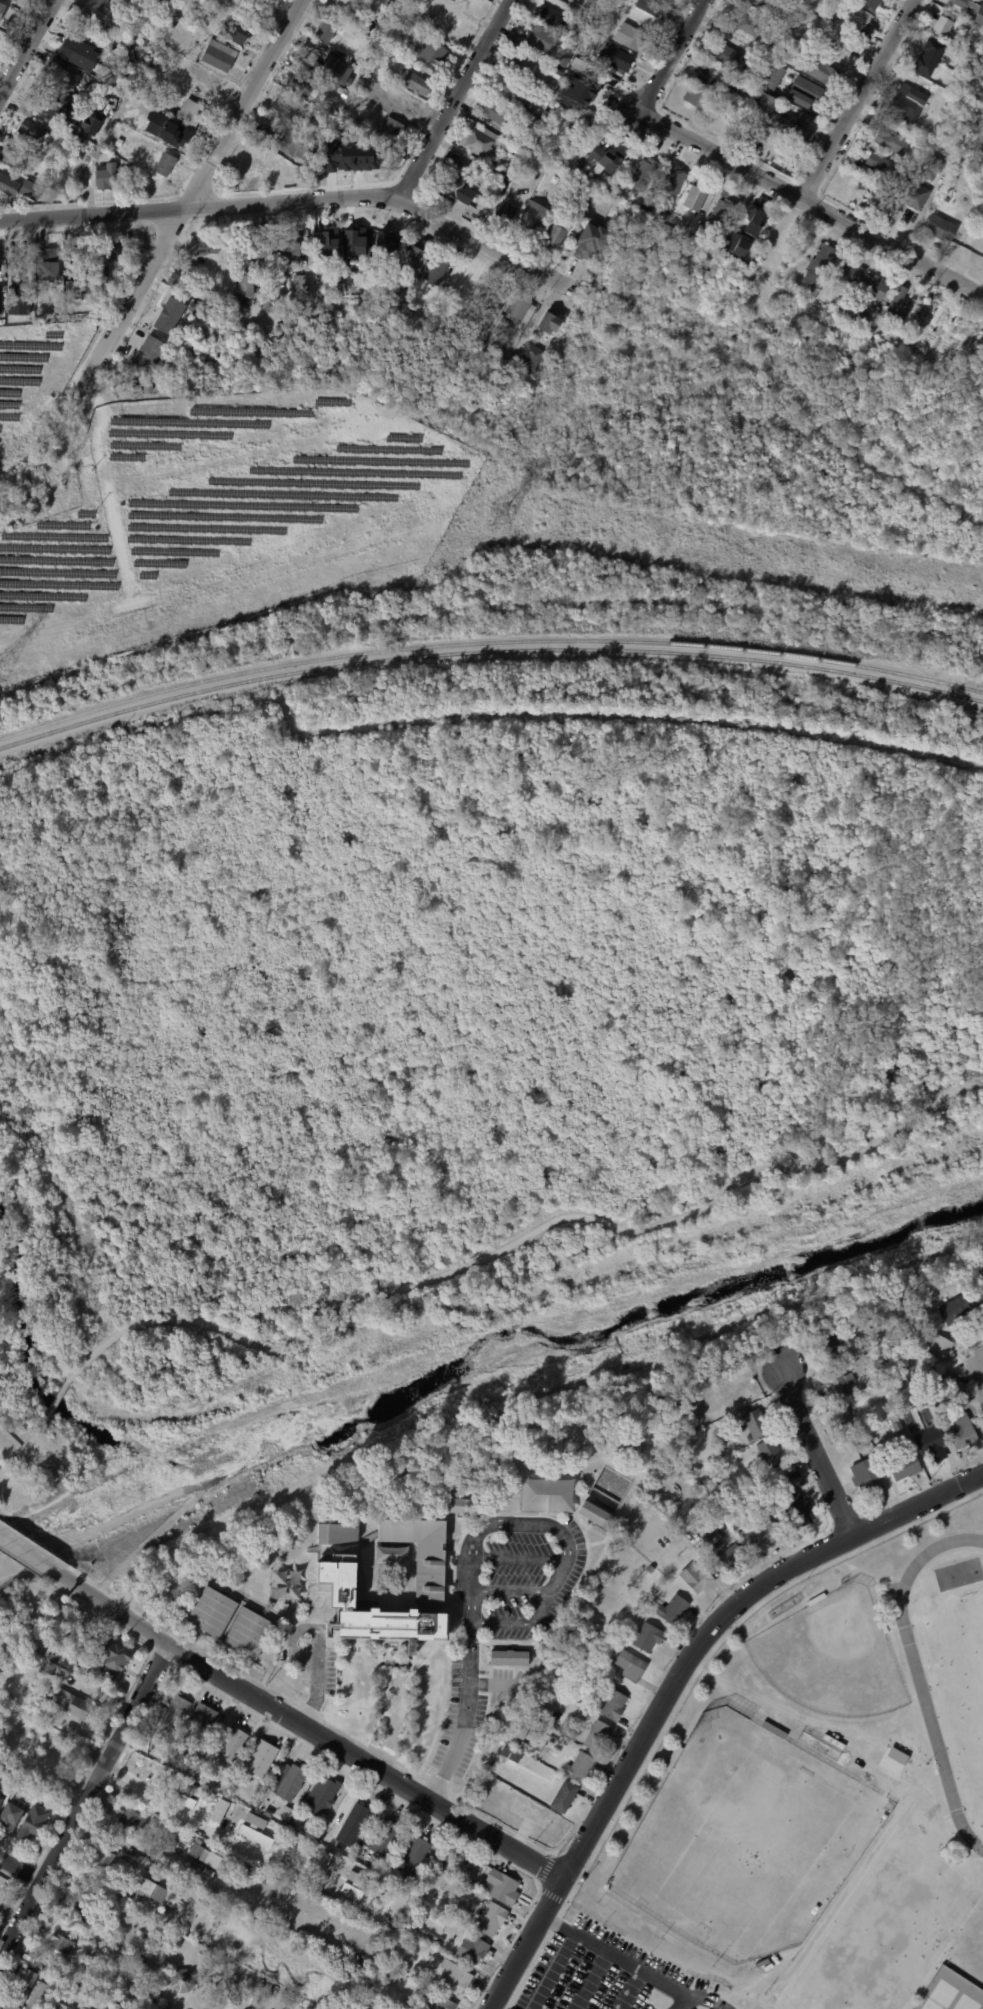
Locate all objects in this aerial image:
building: (16, 0)
building: (449, 0)
building: (451, 0)
building: (570, 0)
building: (666, 1)
building: (757, 2)
building: (800, 2)
building: (869, 4)
building: (955, 4)
building: (100, 5)
building: (387, 7)
building: (342, 8)
building: (793, 9)
building: (972, 10)
building: (409, 11)
building: (3, 12)
building: (644, 13)
building: (857, 16)
building: (550, 19)
building: (942, 25)
building: (90, 26)
building: (749, 26)
building: (595, 28)
building: (238, 31)
building: (323, 31)
building: (69, 35)
building: (836, 35)
building: (628, 36)
building: (532, 37)
road: (26, 47)
building: (570, 50)
building: (792, 50)
building: (429, 51)
building: (75, 52)
road: (672, 53)
building: (220, 55)
building: (725, 57)
building: (927, 58)
building: (617, 59)
building: (520, 64)
building: (749, 65)
building: (820, 70)
building: (359, 71)
building: (549, 71)
building: (336, 72)
building: (706, 75)
building: (773, 79)
building: (67, 81)
building: (416, 83)
building: (299, 84)
building: (584, 88)
building: (93, 92)
building: (155, 93)
building: (805, 94)
road: (459, 97)
road: (859, 98)
building: (521, 99)
building: (694, 99)
building: (728, 99)
building: (88, 101)
building: (405, 101)
road: (242, 103)
building: (904, 104)
building: (284, 106)
building: (59, 107)
building: (194, 112)
building: (494, 114)
building: (774, 116)
building: (805, 118)
building: (576, 122)
building: (89, 124)
building: (265, 124)
building: (36, 132)
building: (62, 133)
building: (389, 133)
building: (753, 135)
building: (179, 136)
building: (70, 142)
building: (120, 143)
building: (891, 143)
building: (478, 144)
building: (541, 144)
building: (571, 144)
building: (100, 153)
building: (2, 155)
building: (604, 156)
building: (364, 157)
building: (15, 158)
building: (277, 161)
building: (167, 165)
building: (505, 168)
building: (883, 168)
building: (931, 168)
building: (642, 174)
building: (111, 177)
building: (671, 181)
building: (454, 184)
building: (21, 188)
building: (902, 189)
building: (617, 193)
road: (393, 194)
building: (695, 197)
building: (915, 197)
building: (665, 199)
road: (813, 200)
building: (882, 202)
building: (722, 208)
building: (585, 211)
building: (505, 212)
road: (92, 213)
building: (530, 217)
building: (752, 219)
building: (939, 228)
building: (556, 234)
building: (698, 235)
building: (590, 241)
building: (357, 242)
building: (327, 243)
building: (385, 243)
building: (206, 246)
building: (275, 248)
building: (725, 248)
building: (112, 252)
building: (412, 259)
building: (47, 263)
building: (819, 266)
building: (434, 271)
building: (173, 280)
building: (862, 281)
building: (244, 285)
building: (298, 286)
road: (136, 291)
building: (396, 294)
building: (492, 297)
building: (3, 301)
building: (23, 301)
building: (897, 308)
building: (519, 309)
building: (850, 313)
building: (548, 323)
building: (937, 323)
building: (149, 357)
building: (530, 357)
building: (932, 360)
solar farm: (35, 372)
building: (150, 387)
power tower: (498, 513)
solar farm: (222, 520)
railway: (488, 641)
railway: (488, 649)
road: (58, 1199)
road: (519, 1236)
building: (980, 1299)
building: (953, 1310)
building: (853, 1331)
building: (868, 1343)
building: (829, 1346)
building: (936, 1348)
road: (982, 1365)
building: (932, 1382)
building: (837, 1383)
road: (55, 1400)
building: (940, 1408)
building: (876, 1417)
building: (841, 1421)
building: (755, 1423)
building: (897, 1427)
building: (961, 1430)
building: (13, 1439)
building: (929, 1441)
building: (720, 1444)
road: (22, 1448)
building: (769, 1453)
road: (815, 1454)
building: (613, 1461)
building: (904, 1467)
building: (868, 1474)
building: (751, 1476)
building: (764, 1485)
road: (976, 1492)
building: (460, 1505)
building: (795, 1507)
building: (595, 1514)
building: (764, 1533)
building: (333, 1534)
road: (33, 1544)
building: (391, 1554)
road: (28, 1555)
building: (420, 1555)
building: (727, 1558)
road: (519, 1559)
road: (22, 1562)
building: (650, 1569)
road: (470, 1574)
building: (695, 1578)
parking lot: (513, 1580)
road: (510, 1592)
building: (815, 1598)
building: (672, 1610)
building: (210, 1612)
road: (719, 1620)
road: (501, 1622)
building: (881, 1624)
building: (388, 1627)
building: (596, 1627)
building: (11, 1631)
building: (248, 1634)
road: (155, 1637)
building: (647, 1638)
road: (179, 1639)
building: (77, 1645)
building: (45, 1652)
park: (831, 1656)
building: (52, 1657)
road: (161, 1657)
building: (509, 1658)
building: (112, 1659)
building: (629, 1665)
park: (961, 1677)
road: (316, 1679)
parking lot: (455, 1699)
building: (74, 1705)
building: (611, 1705)
road: (309, 1710)
building: (894, 1712)
building: (172, 1714)
road: (116, 1716)
track: (928, 1716)
building: (198, 1720)
building: (545, 1720)
road: (307, 1728)
building: (520, 1729)
building: (774, 1729)
building: (596, 1736)
building: (550, 1740)
building: (834, 1740)
building: (230, 1744)
road: (890, 1745)
road: (376, 1753)
building: (509, 1753)
building: (259, 1756)
building: (672, 1758)
building: (893, 1759)
building: (577, 1768)
road: (441, 1777)
building: (533, 1778)
building: (289, 1782)
road: (143, 1785)
building: (320, 1793)
building: (563, 1797)
building: (2, 1799)
road: (83, 1799)
building: (183, 1802)
road: (416, 1809)
building: (266, 1811)
building: (12, 1815)
building: (128, 1817)
building: (181, 1818)
building: (254, 1820)
building: (35, 1822)
road: (494, 1823)
track: (981, 1824)
building: (350, 1825)
building: (314, 1831)
park: (981, 1831)
building: (246, 1832)
building: (445, 1835)
building: (382, 1836)
park: (744, 1839)
building: (262, 1843)
building: (193, 1850)
building: (463, 1850)
building: (413, 1854)
building: (106, 1860)
building: (321, 1861)
building: (225, 1865)
road: (20, 1868)
building: (163, 1870)
road: (24, 1872)
building: (582, 1877)
building: (182, 1878)
building: (401, 1880)
building: (415, 1884)
road: (538, 1885)
building: (501, 1886)
road: (853, 1887)
building: (146, 1889)
road: (16, 1893)
building: (257, 1893)
building: (169, 1900)
building: (398, 1900)
building: (77, 1907)
building: (489, 1918)
building: (104, 1920)
building: (283, 1928)
park: (887, 1931)
road: (22, 1935)
building: (59, 1943)
road: (525, 1943)
road: (540, 1945)
building: (142, 1949)
building: (399, 1949)
building: (471, 1949)
road: (615, 1956)
building: (39, 1965)
road: (552, 1971)
parking lot: (602, 1975)
building: (453, 1977)
building: (183, 1979)
road: (590, 1980)
building: (210, 1981)
building: (22, 1984)
road: (628, 1989)
building: (64, 1993)
building: (35, 1995)
park: (939, 1996)
road: (709, 2000)
road: (684, 2002)
building: (440, 2003)
park: (965, 2003)
building: (264, 2004)
building: (7, 2006)
building: (58, 2006)
building: (165, 2006)

